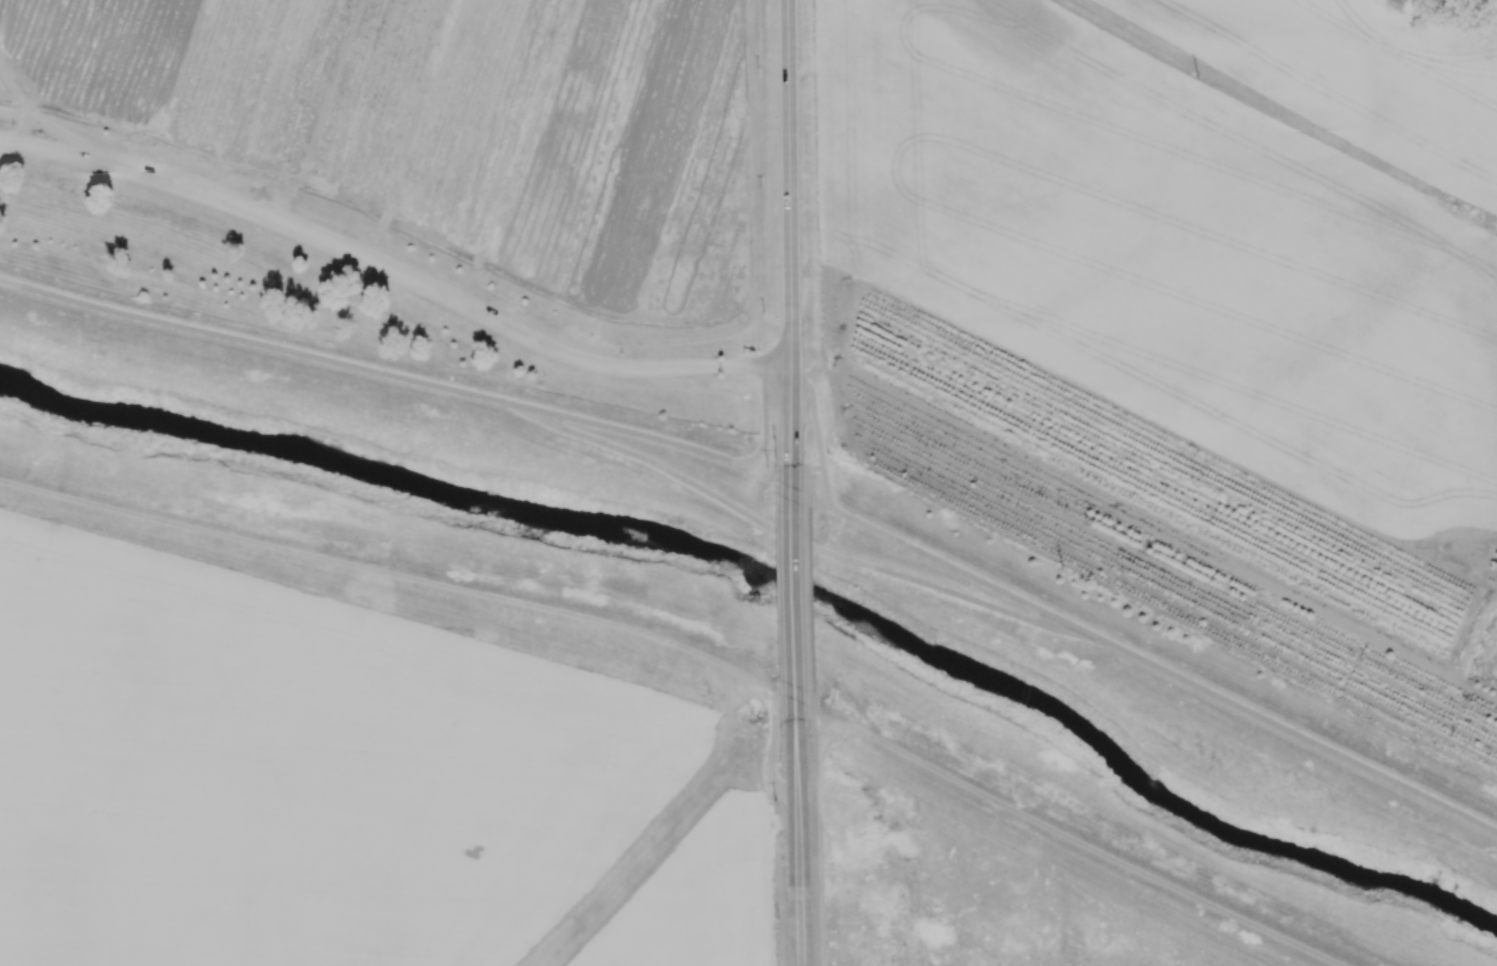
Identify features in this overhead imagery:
road: (322, 113)
road: (37, 117)
road: (1282, 118)
crop: (447, 125)
theme park: (411, 179)
road: (788, 229)
parking lot: (328, 263)
road: (394, 270)
road: (256, 345)
road: (814, 418)
road: (683, 447)
road: (808, 475)
road: (794, 540)
road: (941, 564)
road: (390, 574)
river: (778, 577)
road: (793, 581)
road: (810, 601)
road: (1294, 732)
road: (789, 792)
road: (656, 833)
road: (797, 833)
road: (815, 836)
road: (1088, 846)

